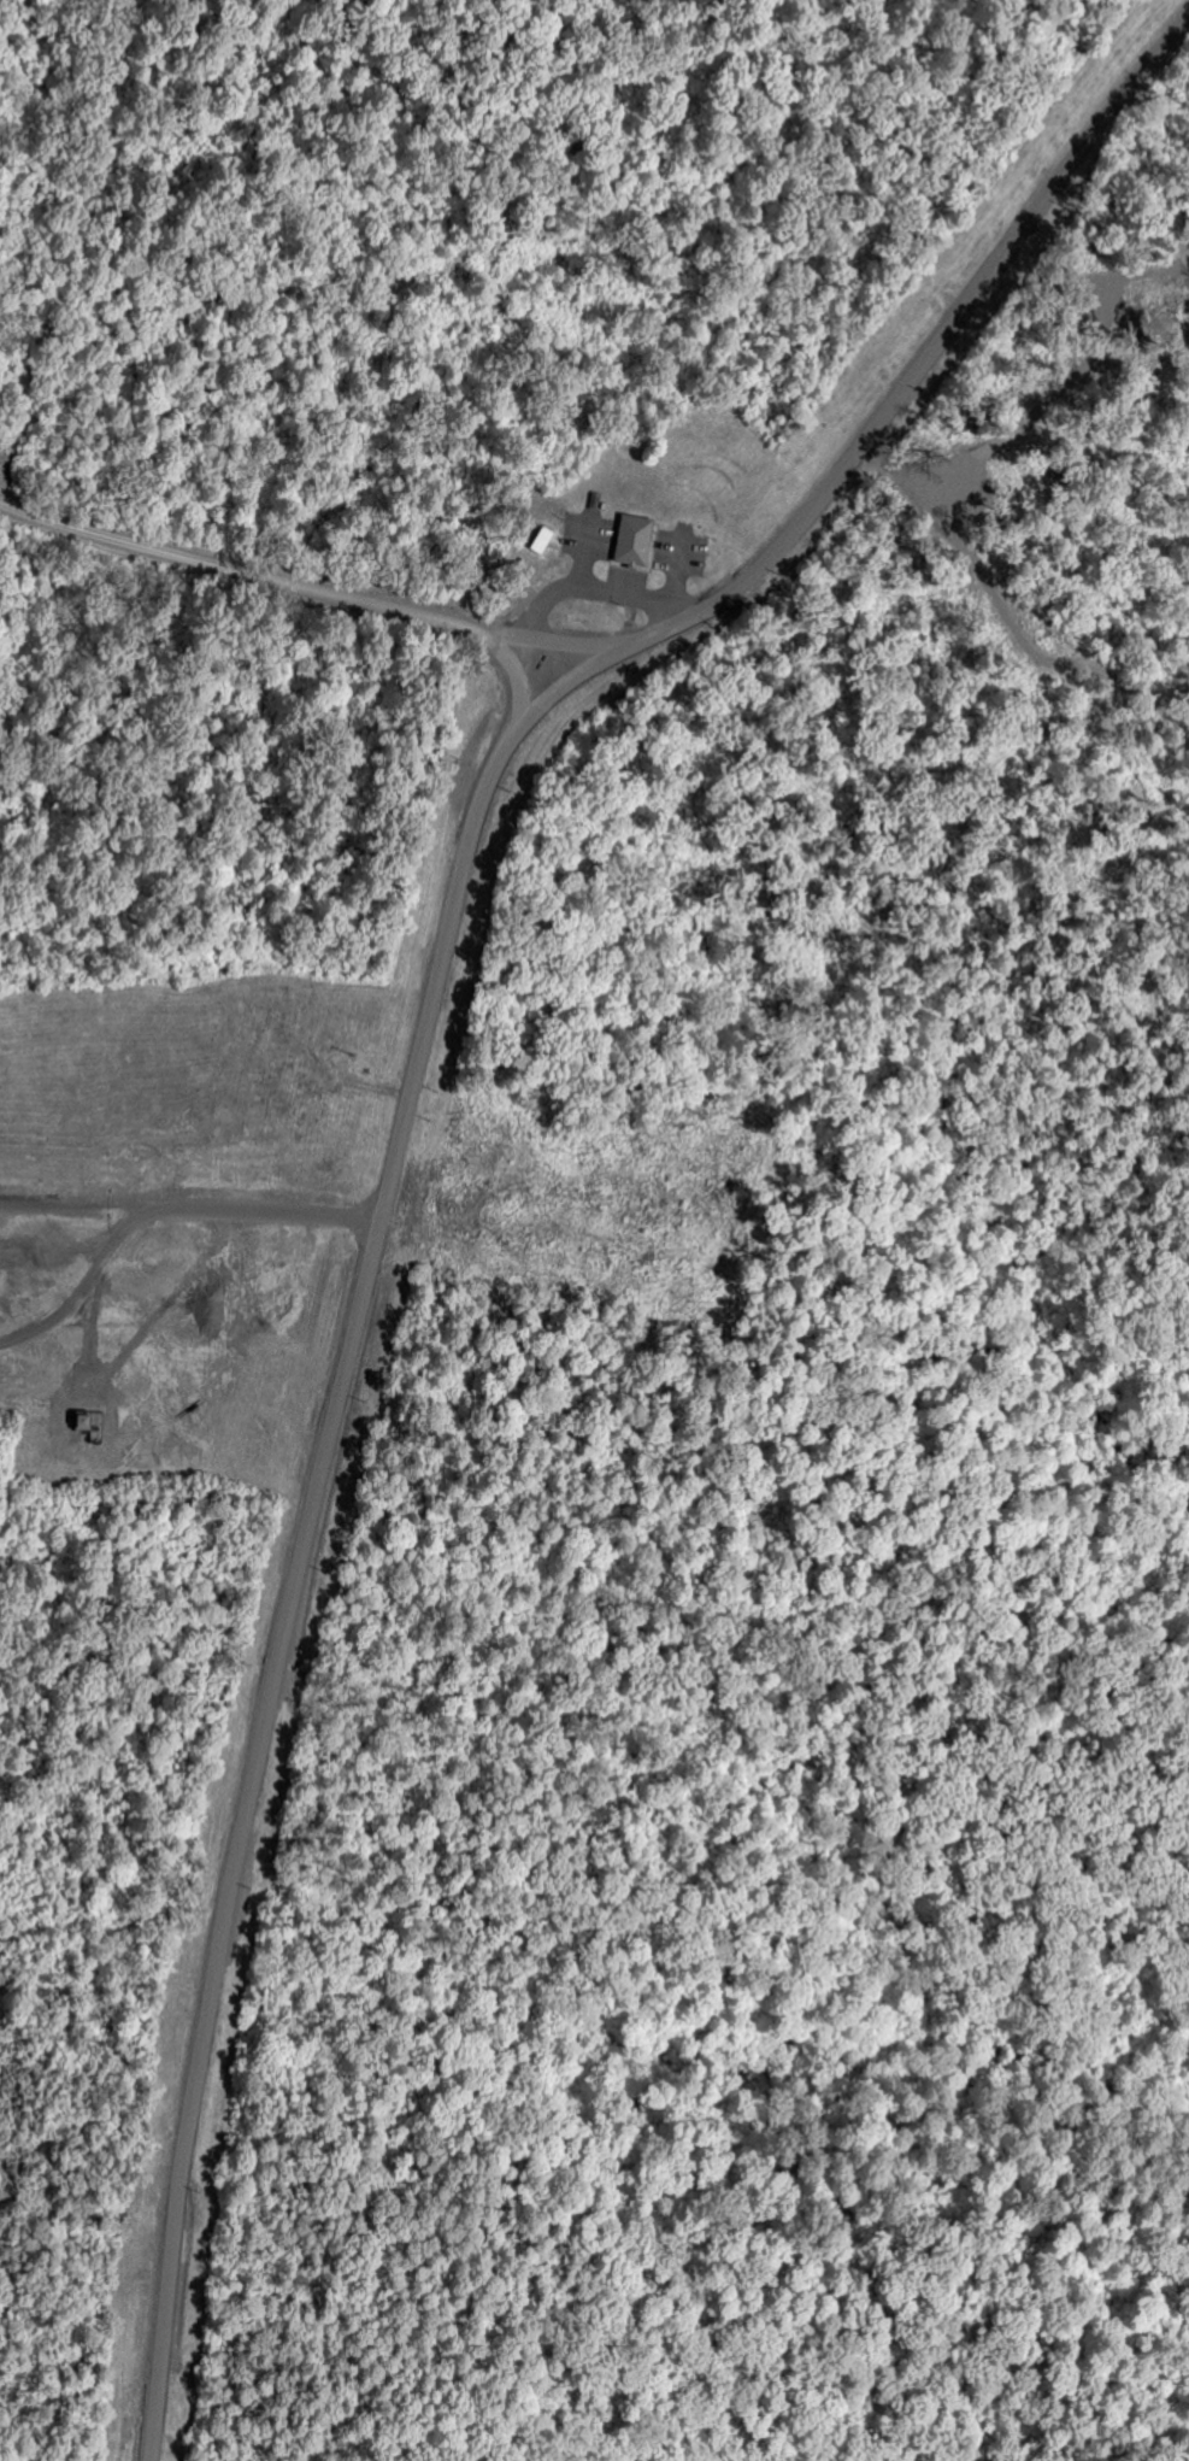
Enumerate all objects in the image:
road: (931, 352)
building: (622, 544)
road: (313, 592)
road: (159, 1212)
road: (310, 1513)

